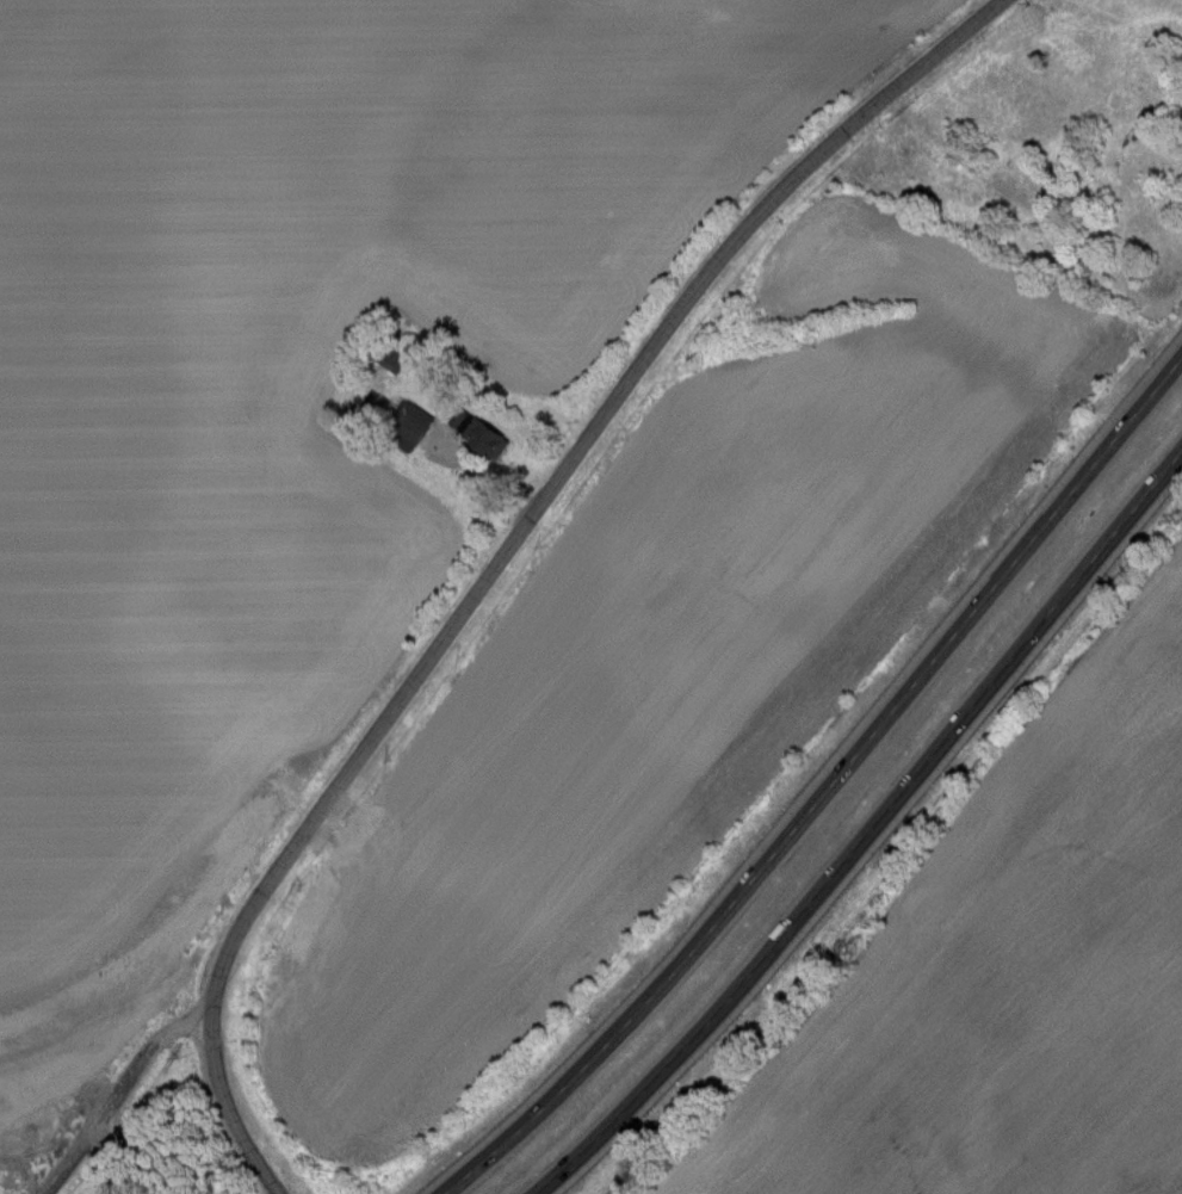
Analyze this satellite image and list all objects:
road: (615, 388)
building: (411, 427)
building: (481, 433)
road: (825, 786)
road: (867, 828)
road: (172, 989)

